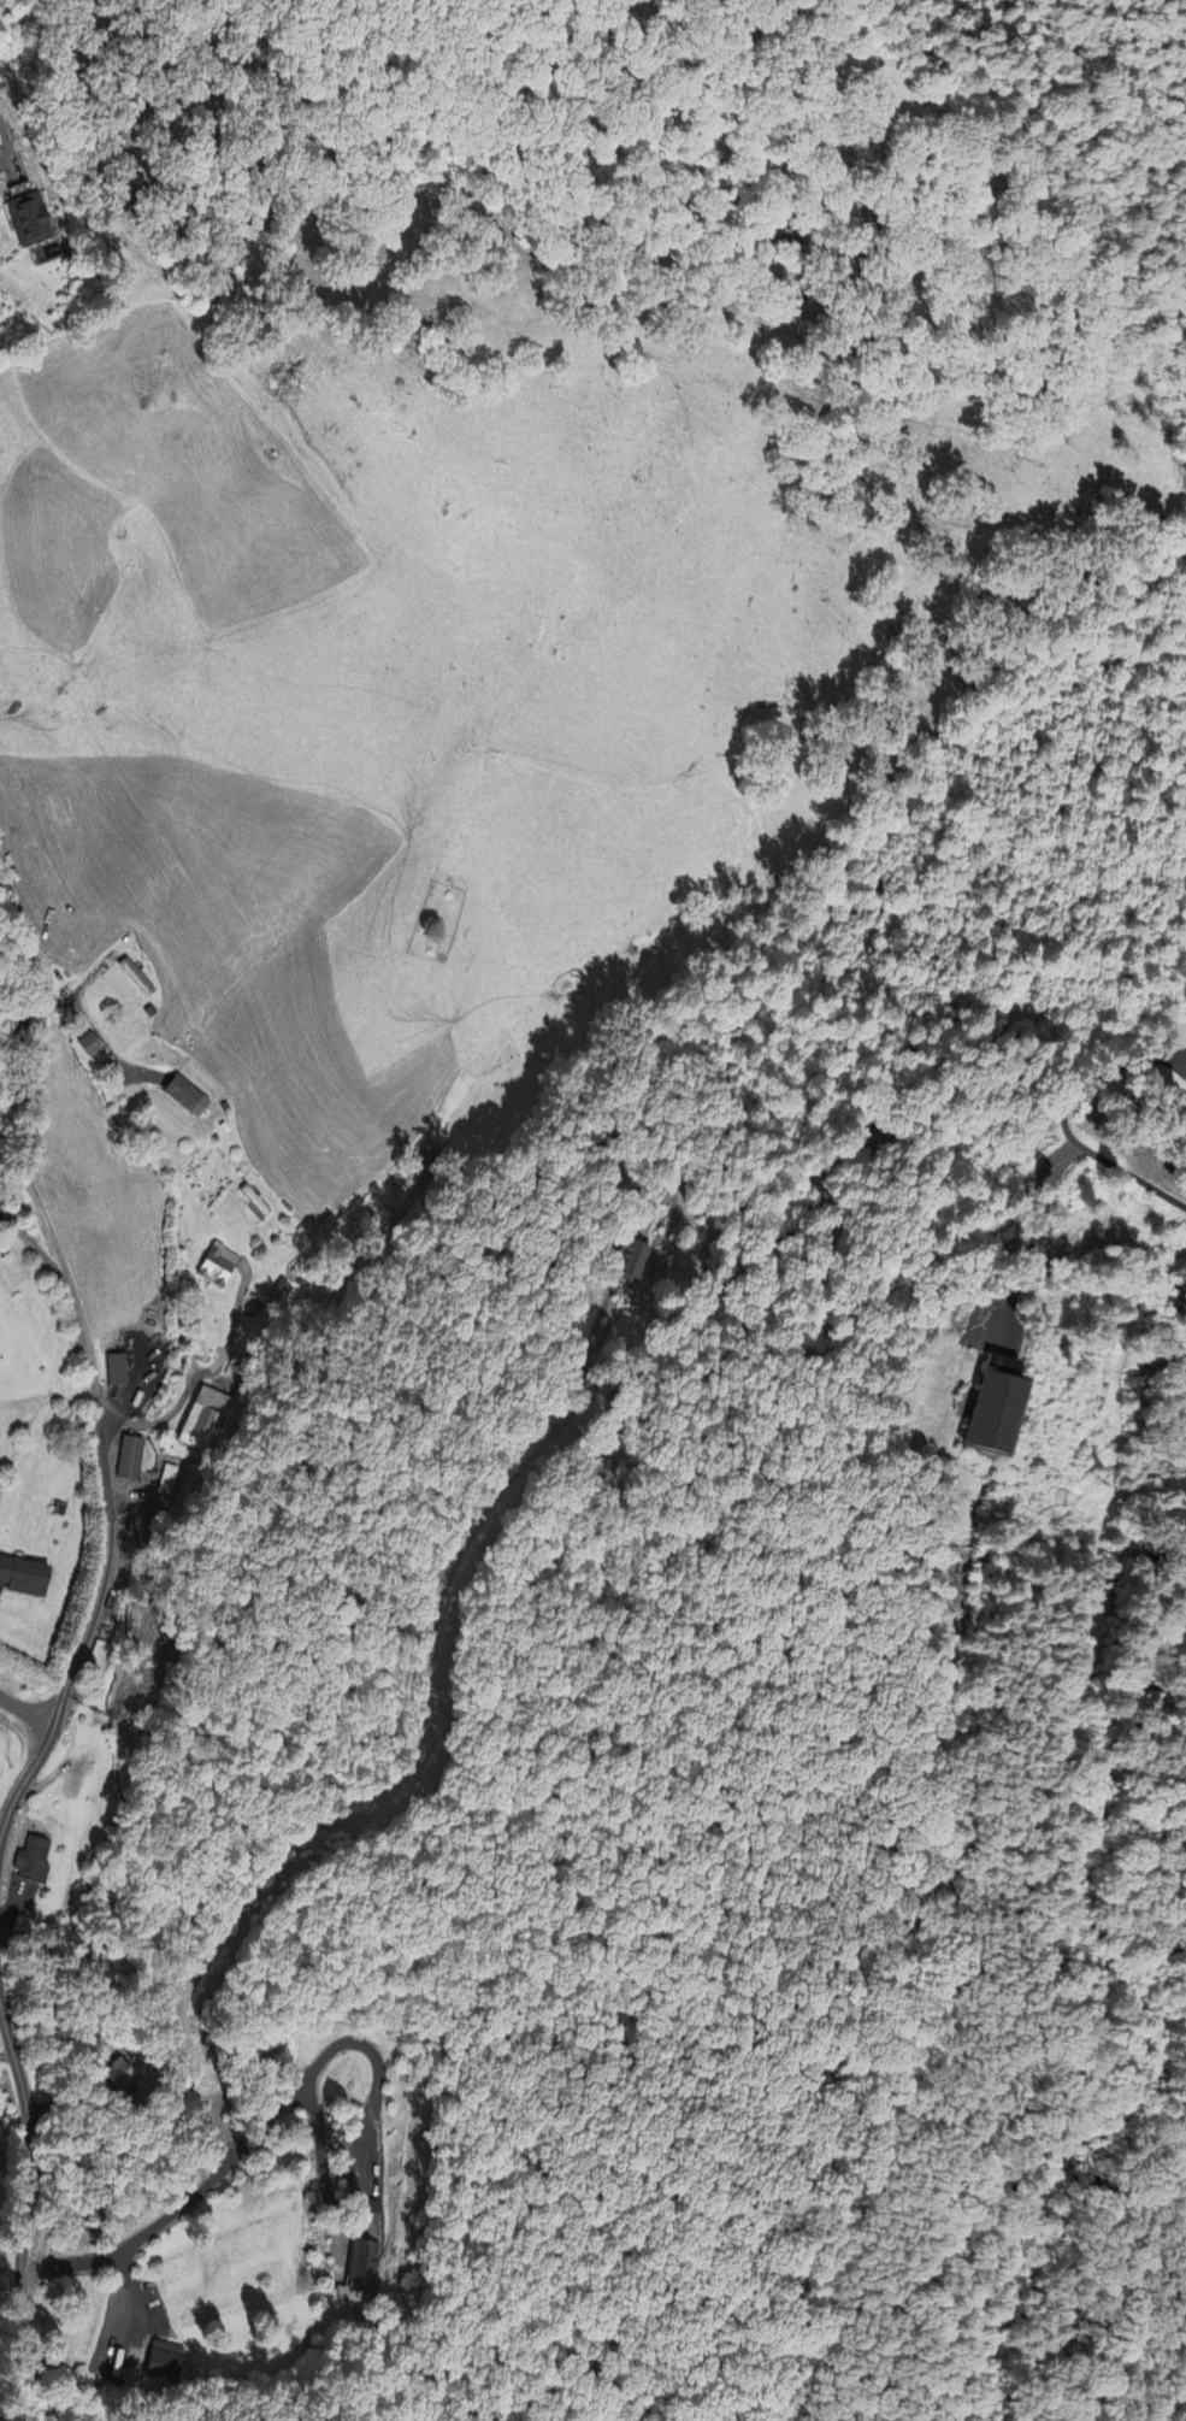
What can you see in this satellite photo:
road: (5, 137)
building: (28, 218)
park: (433, 920)
building: (92, 1044)
building: (189, 1097)
road: (1127, 1173)
building: (627, 1261)
building: (216, 1266)
building: (279, 1290)
building: (116, 1371)
road: (94, 1373)
building: (987, 1406)
building: (203, 1419)
building: (125, 1459)
building: (20, 1577)
building: (98, 1657)
road: (425, 1713)
road: (26, 1715)
building: (30, 1862)
building: (26, 1928)
road: (6, 2054)
road: (228, 2167)
building: (367, 2213)
road: (23, 2219)
building: (364, 2268)
building: (161, 2361)

